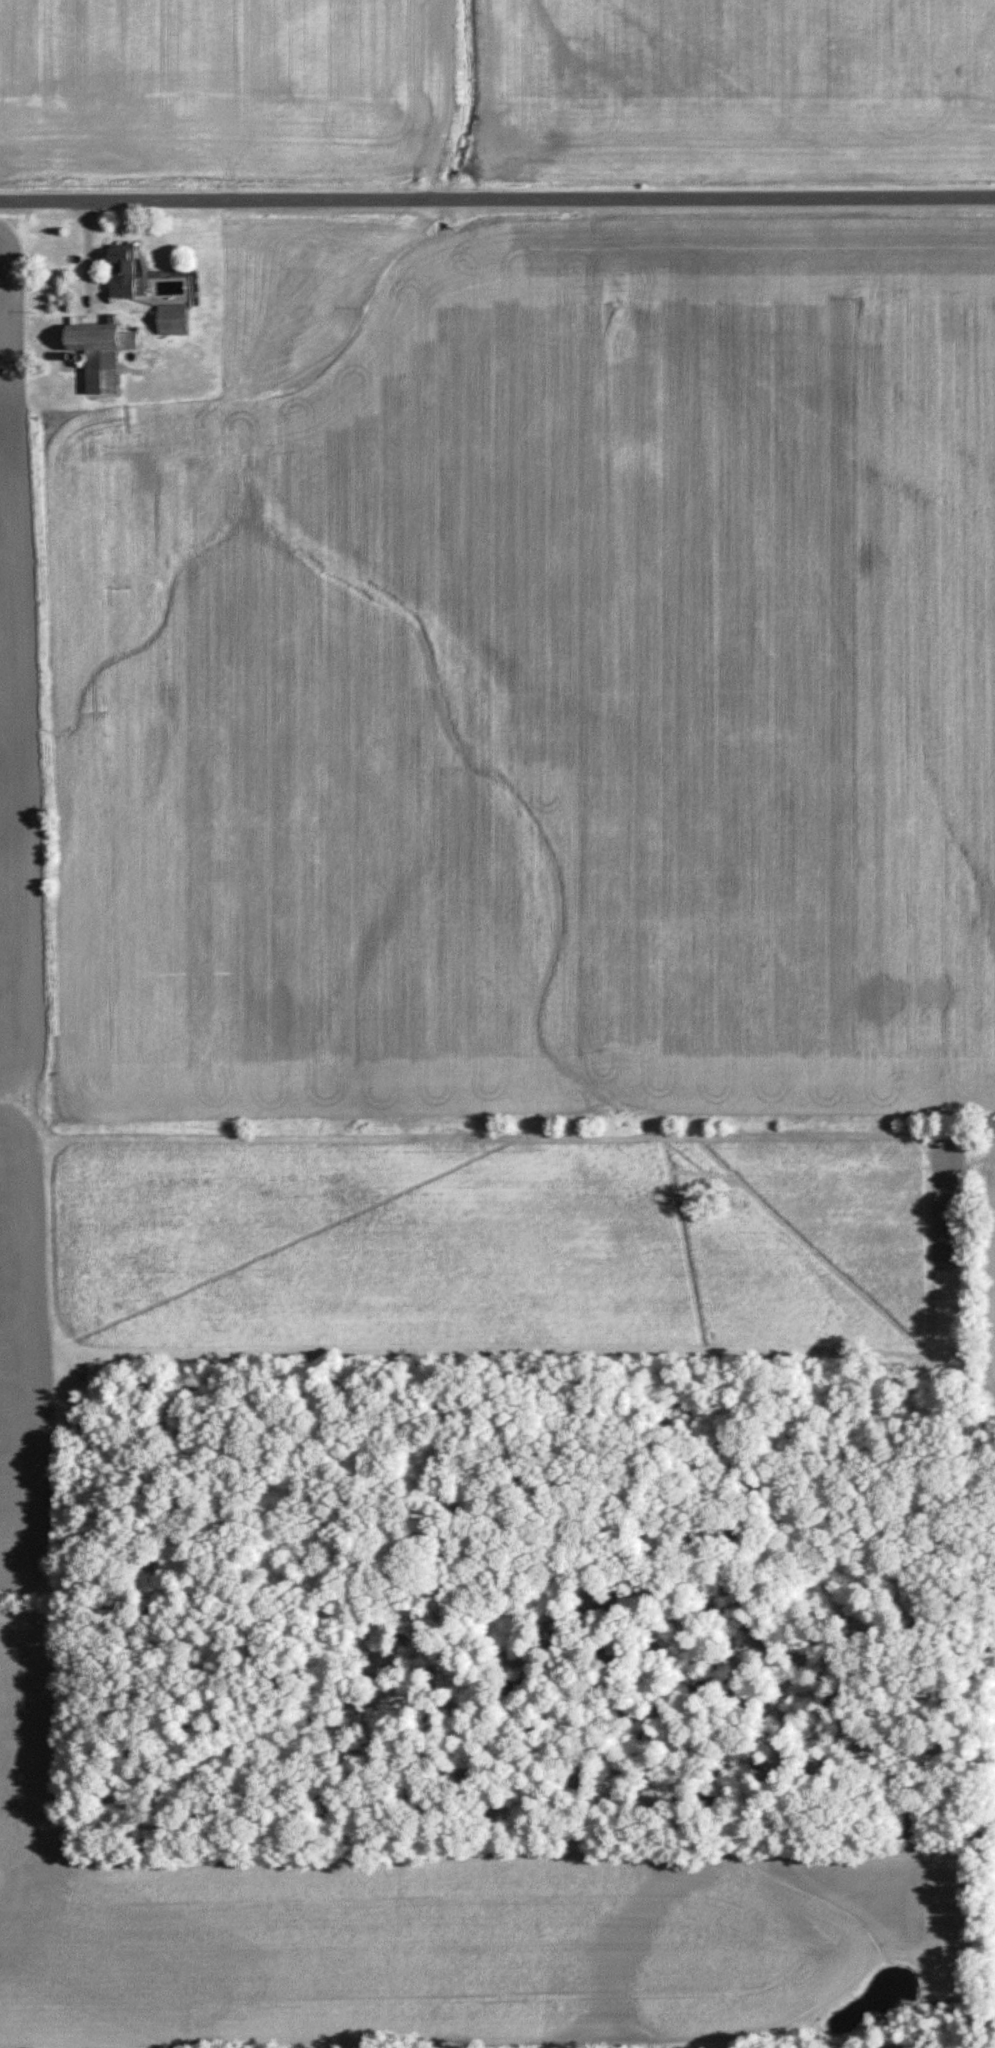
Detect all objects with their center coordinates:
road: (497, 196)
building: (125, 272)
building: (176, 320)
building: (105, 354)

